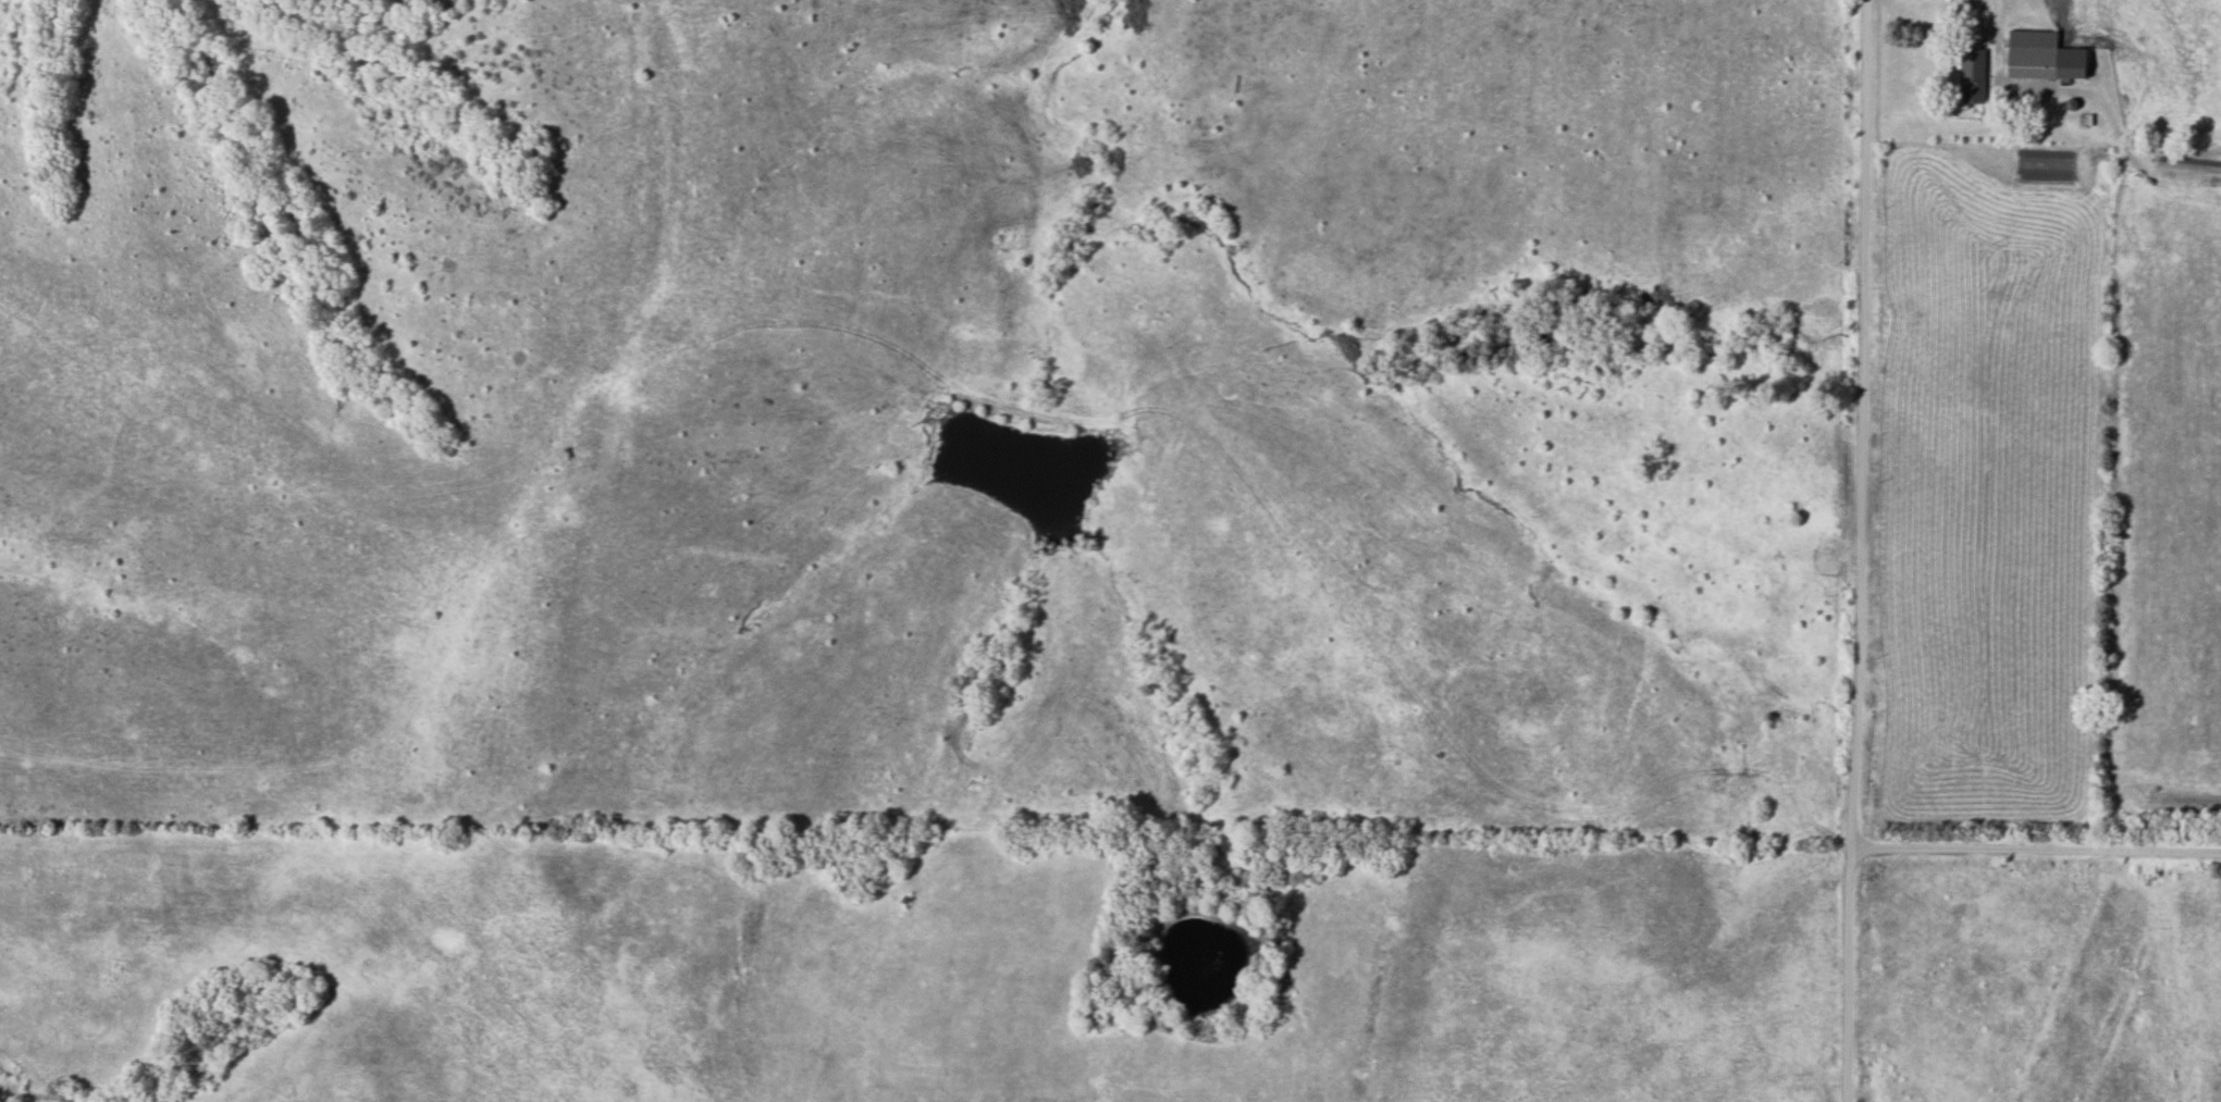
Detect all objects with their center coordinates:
building: (2039, 55)
building: (1969, 74)
road: (1864, 550)
road: (2037, 867)

